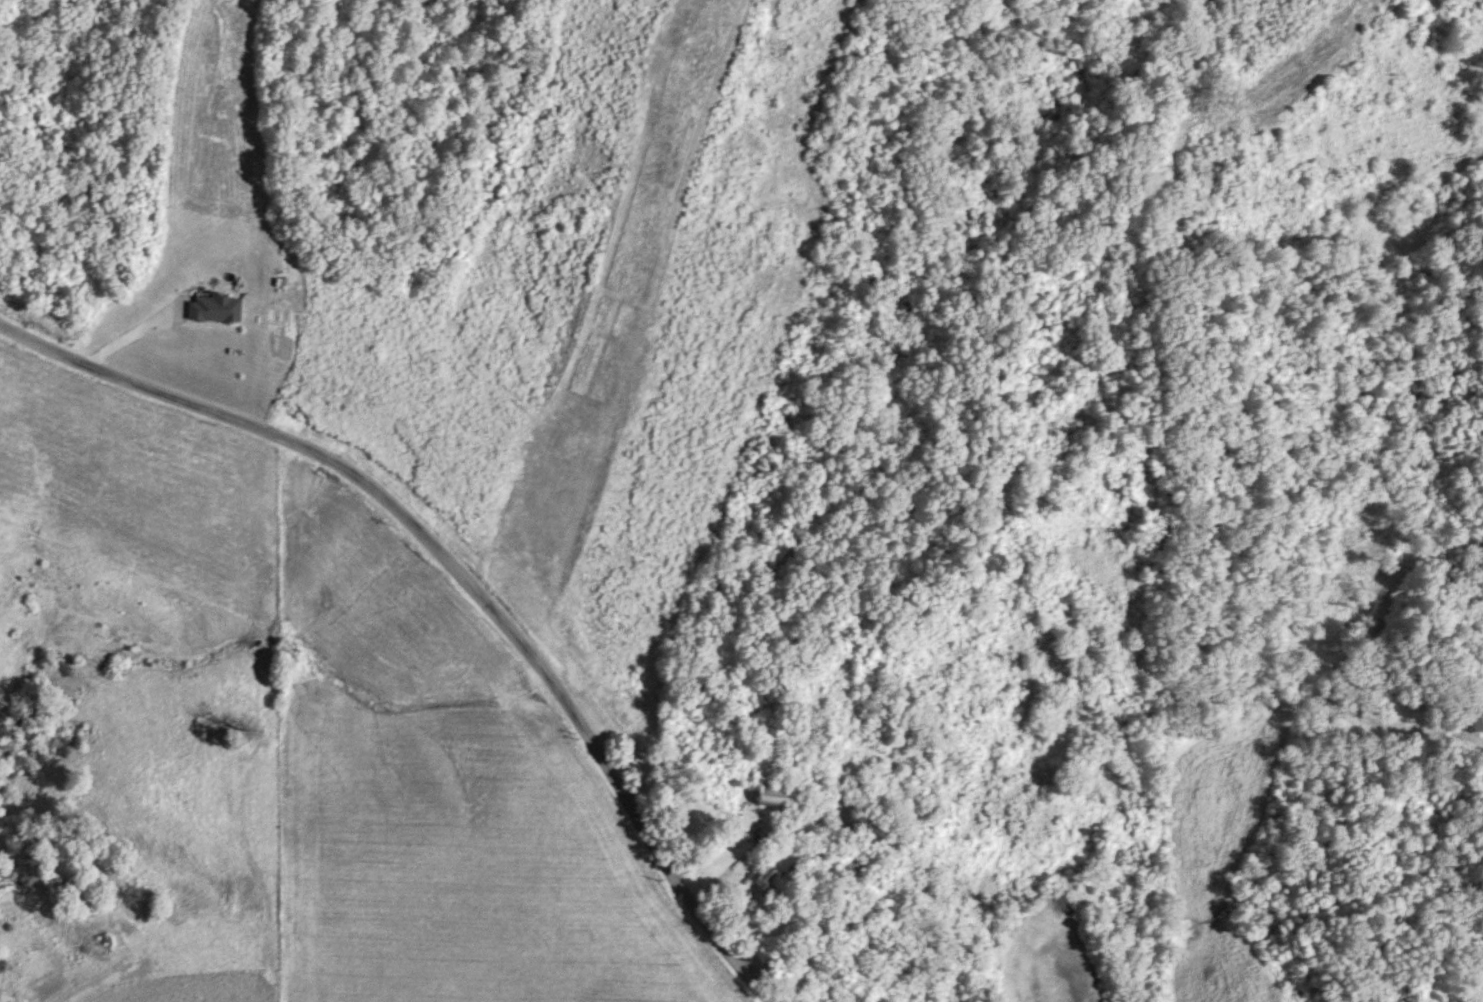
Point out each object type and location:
road: (459, 575)
building: (907, 733)
building: (777, 797)
building: (866, 828)
building: (847, 867)
building: (765, 880)

